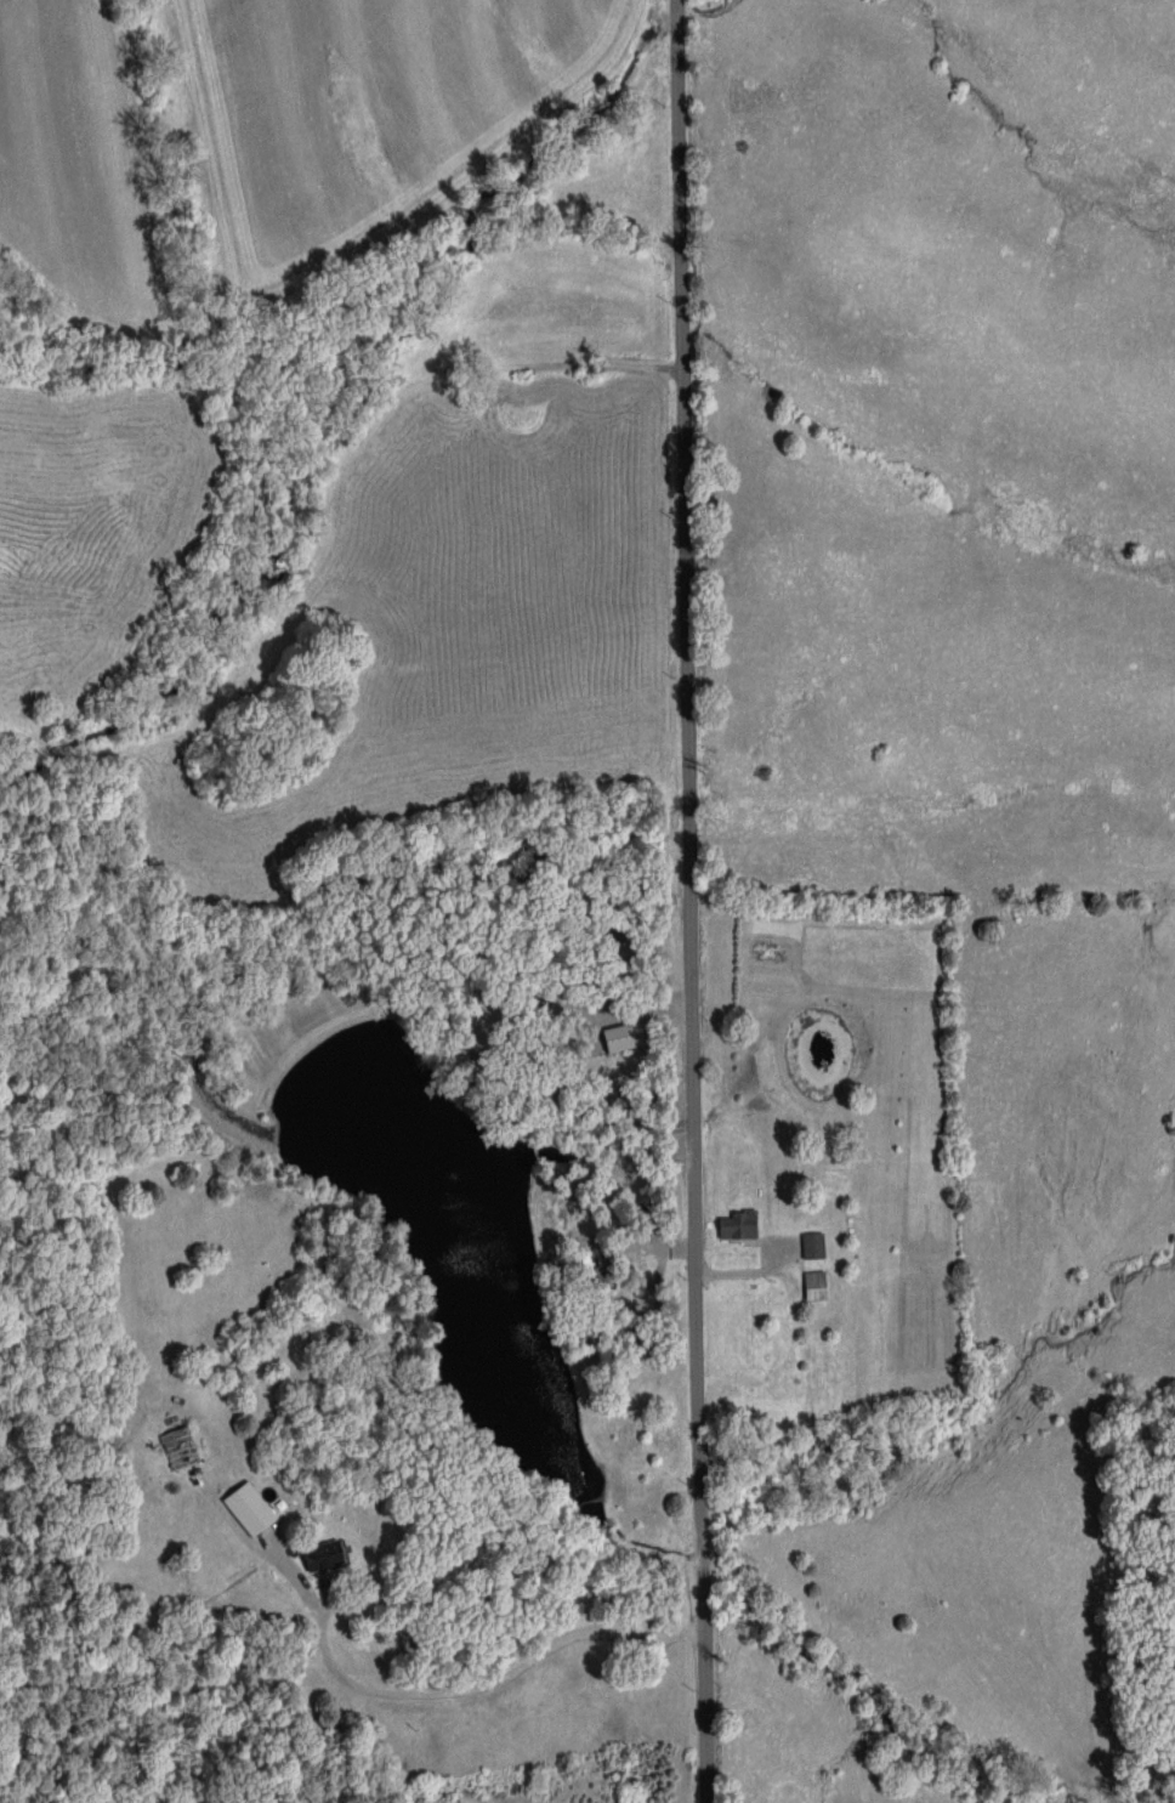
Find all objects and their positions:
road: (691, 901)
building: (612, 1037)
building: (733, 1224)
building: (807, 1244)
building: (810, 1285)
building: (242, 1507)
building: (314, 1553)
road: (411, 1697)
building: (453, 1802)

